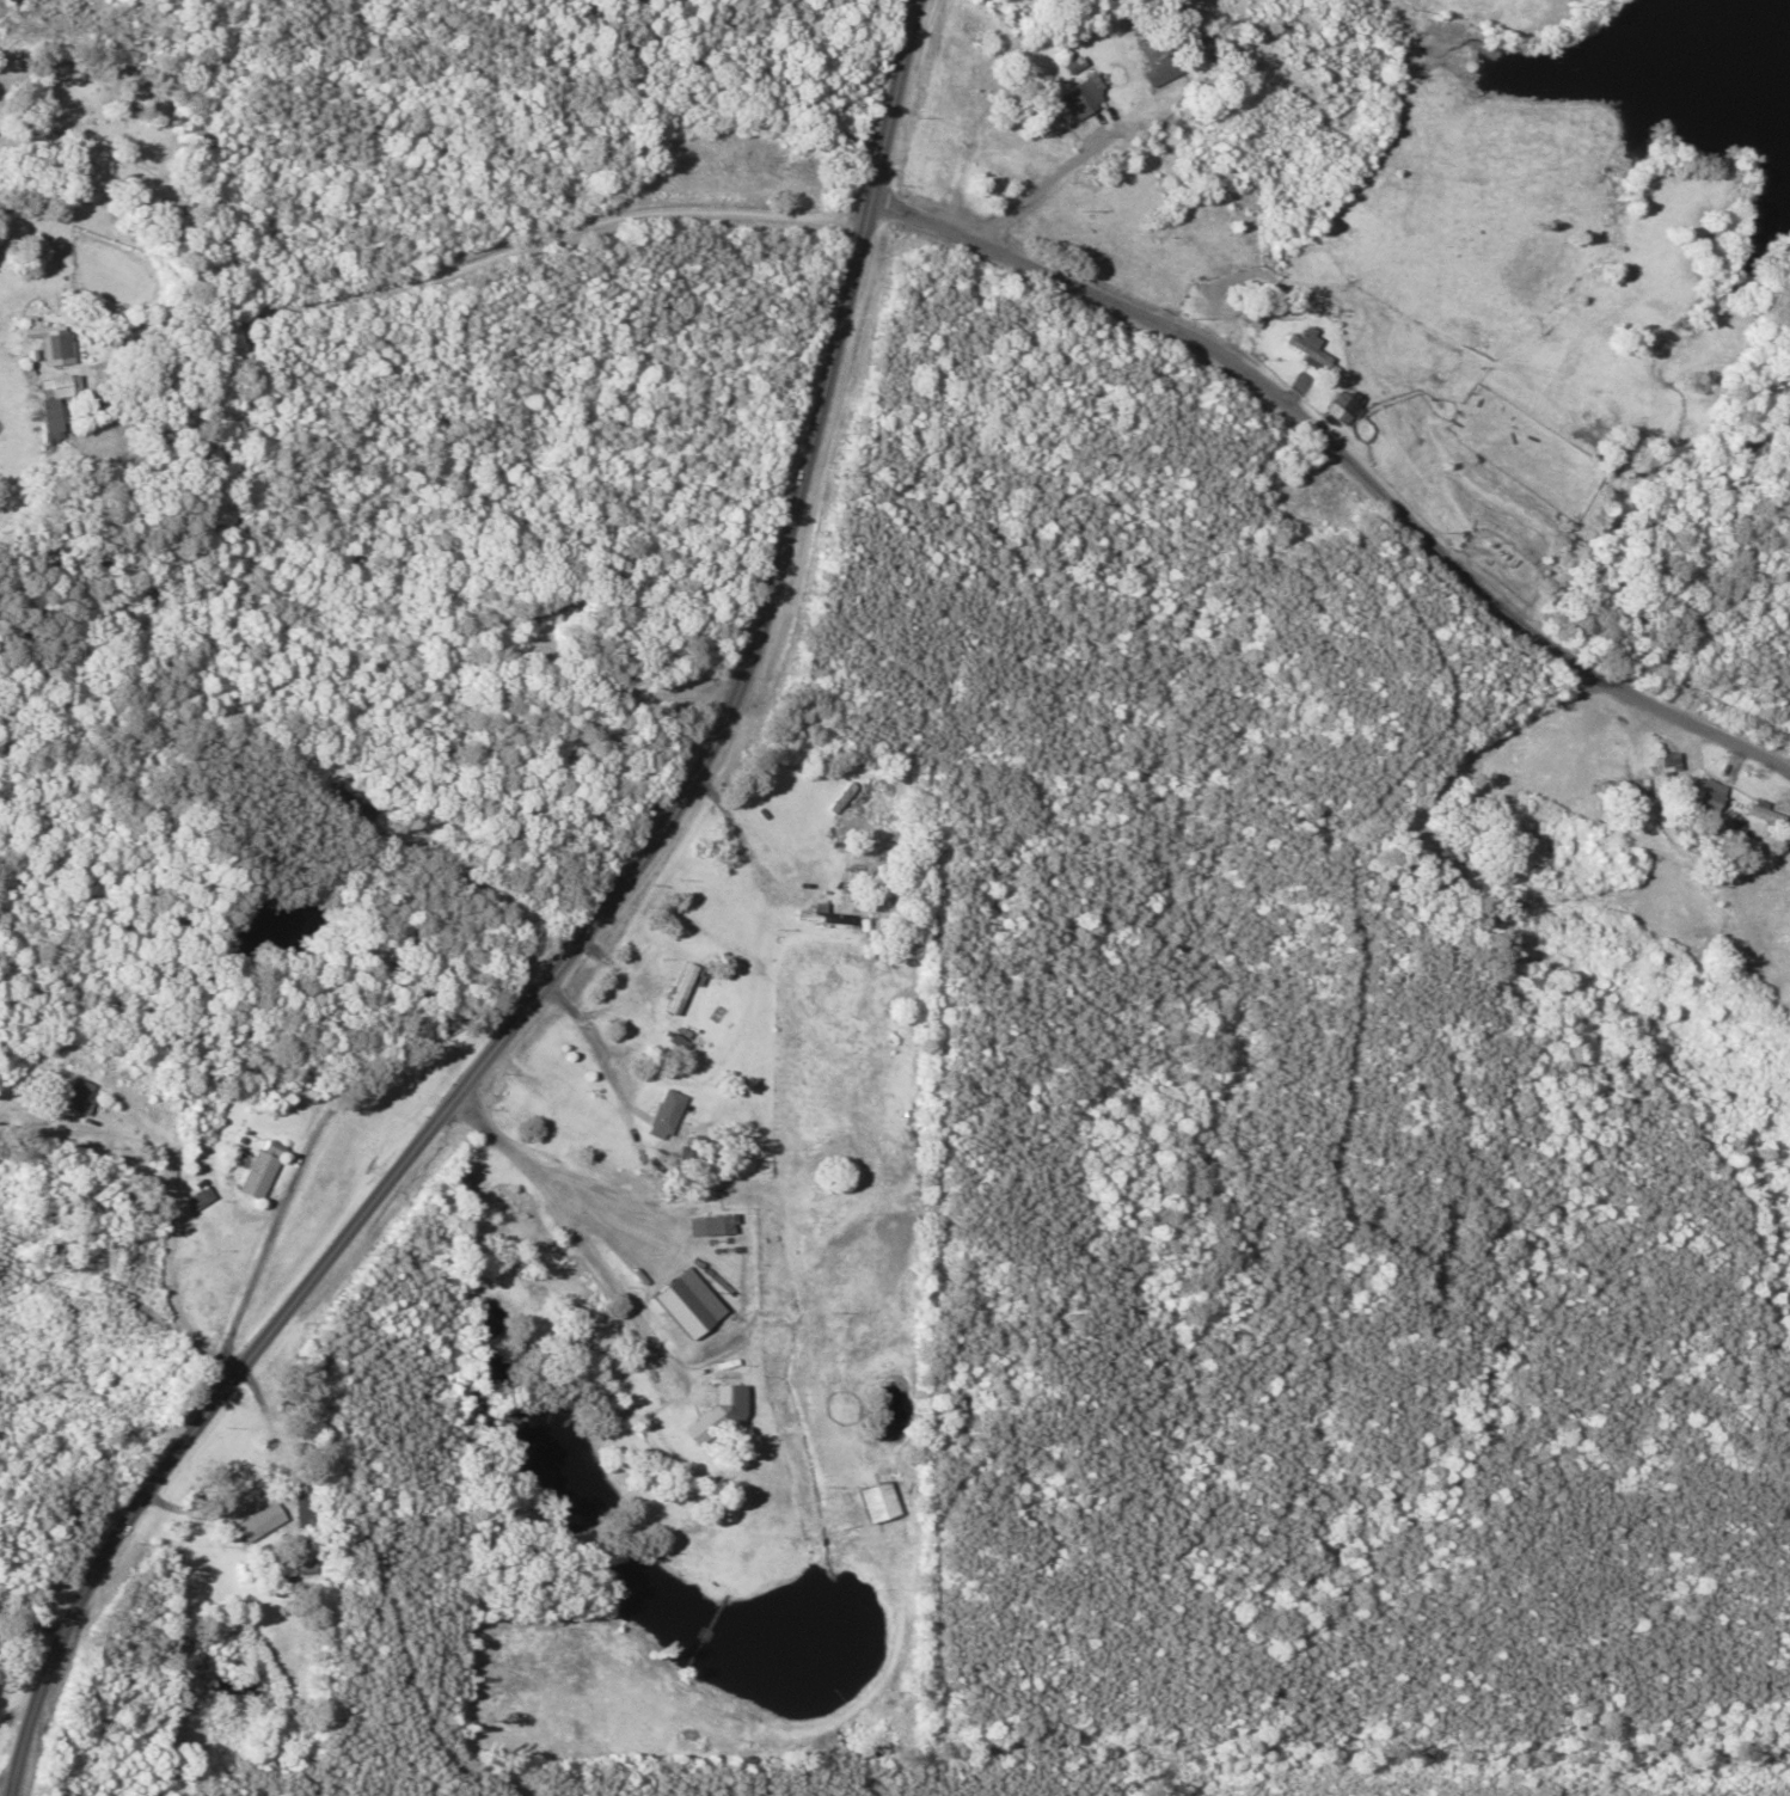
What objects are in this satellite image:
building: (12, 1)
building: (1165, 73)
building: (1079, 97)
building: (1105, 171)
road: (502, 274)
building: (60, 344)
building: (1308, 345)
building: (57, 405)
building: (1340, 406)
building: (87, 407)
road: (1338, 501)
building: (539, 612)
building: (1656, 762)
building: (1627, 789)
building: (1694, 797)
building: (356, 801)
building: (1754, 815)
road: (565, 926)
building: (676, 985)
building: (79, 1096)
building: (656, 1115)
road: (294, 1121)
building: (264, 1170)
building: (710, 1248)
road: (538, 1261)
building: (697, 1308)
road: (1249, 1328)
road: (194, 1366)
building: (721, 1410)
road: (525, 1451)
building: (306, 1512)
building: (262, 1522)

